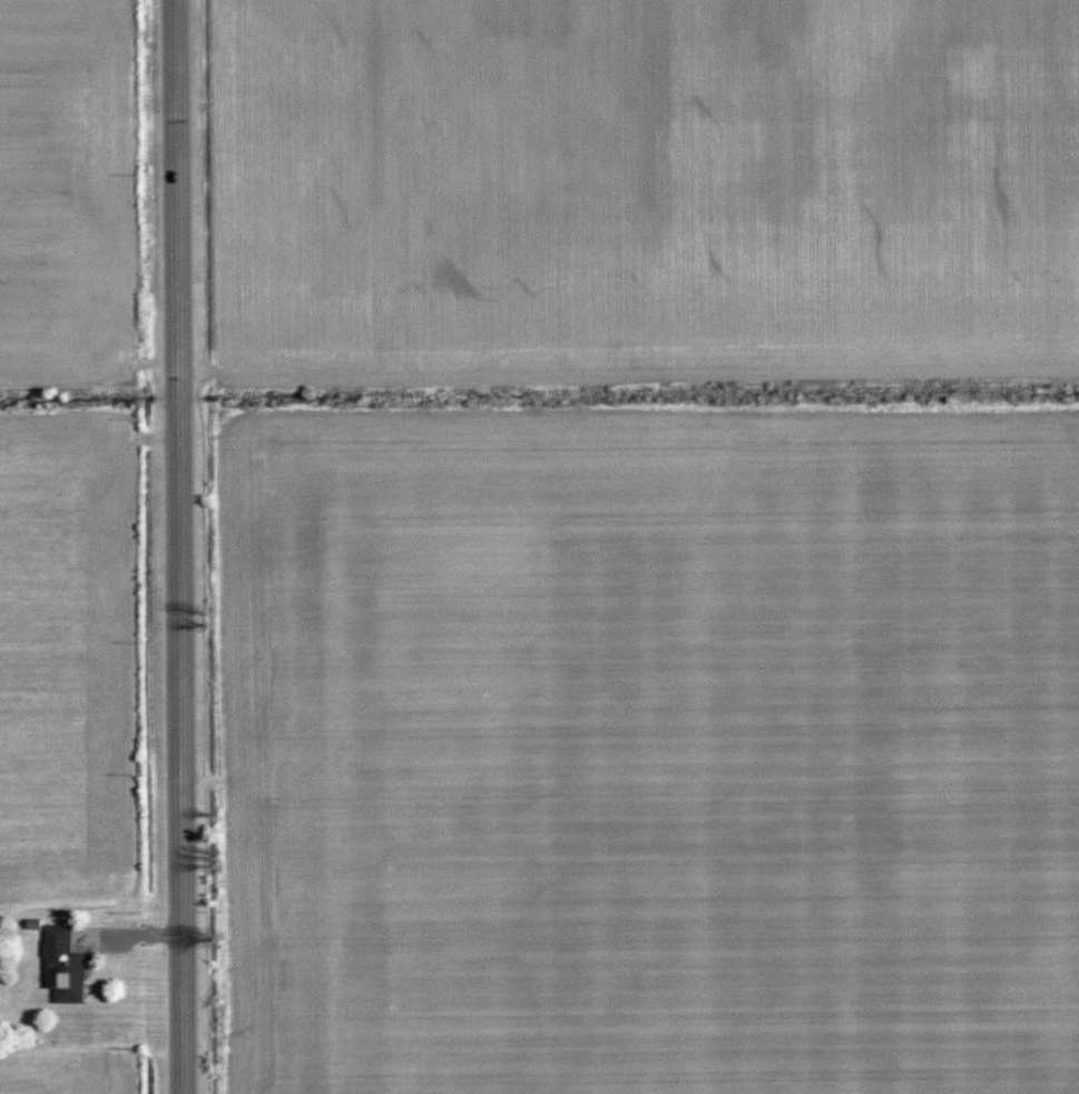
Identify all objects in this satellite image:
road: (180, 546)
building: (68, 968)

